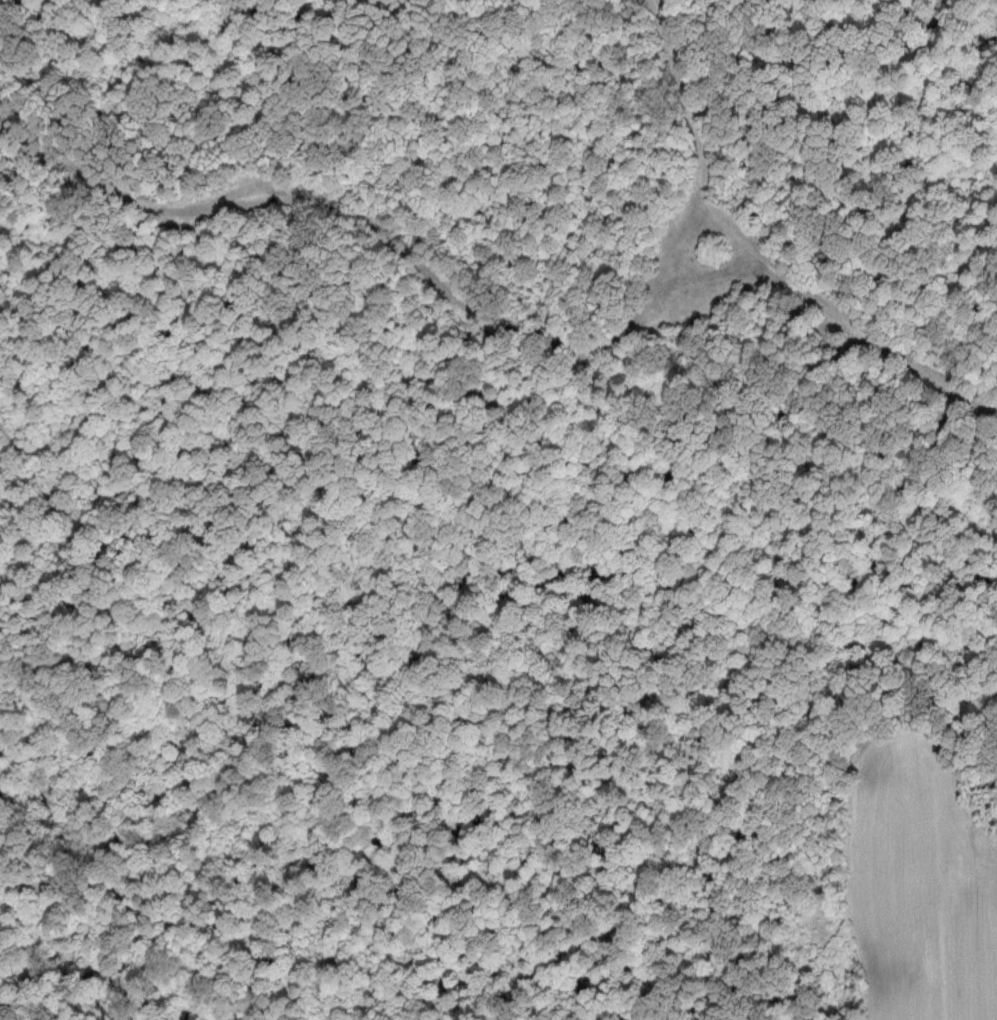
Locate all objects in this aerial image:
road: (477, 301)

